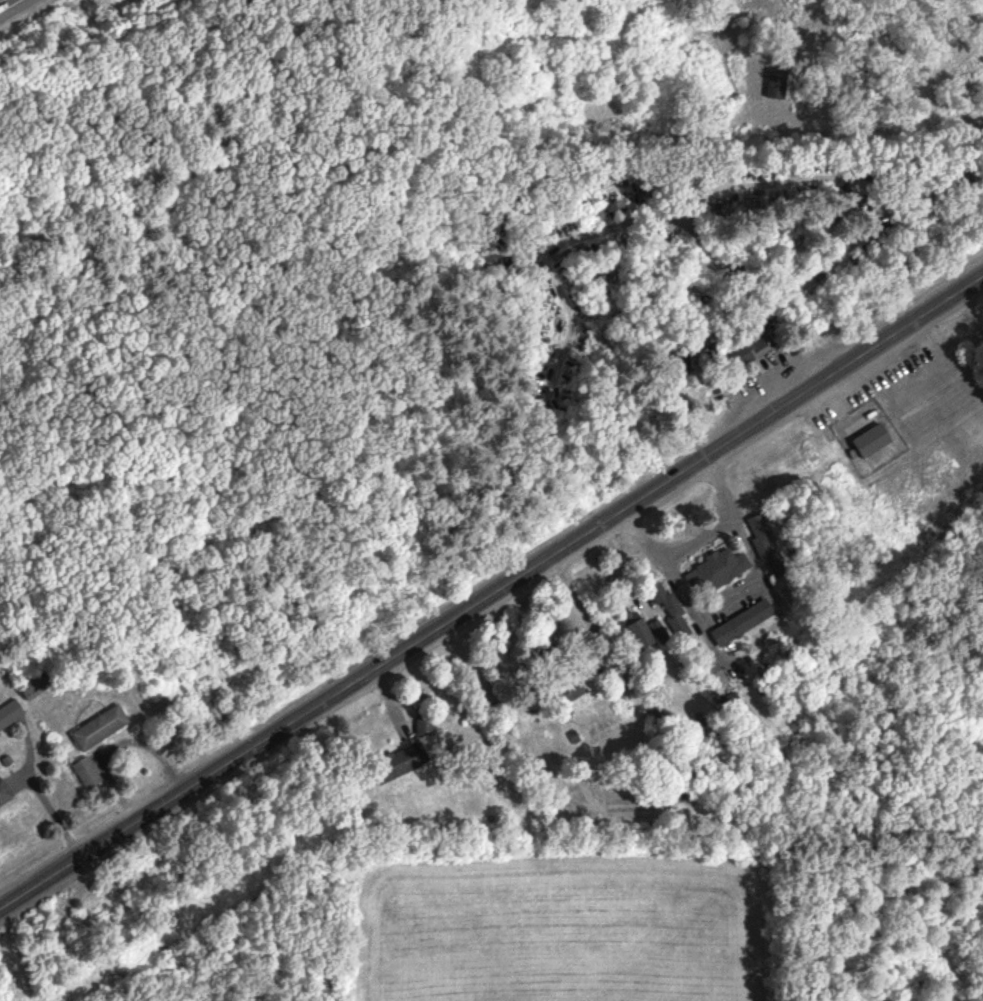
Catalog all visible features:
road: (2, 1)
building: (812, 263)
building: (750, 351)
building: (873, 442)
building: (767, 547)
road: (625, 571)
building: (716, 572)
road: (491, 594)
road: (735, 606)
building: (669, 608)
building: (742, 624)
building: (637, 633)
road: (560, 669)
building: (718, 675)
building: (36, 686)
building: (570, 692)
building: (10, 715)
building: (426, 726)
building: (101, 730)
building: (400, 765)
building: (88, 774)
building: (5, 795)

